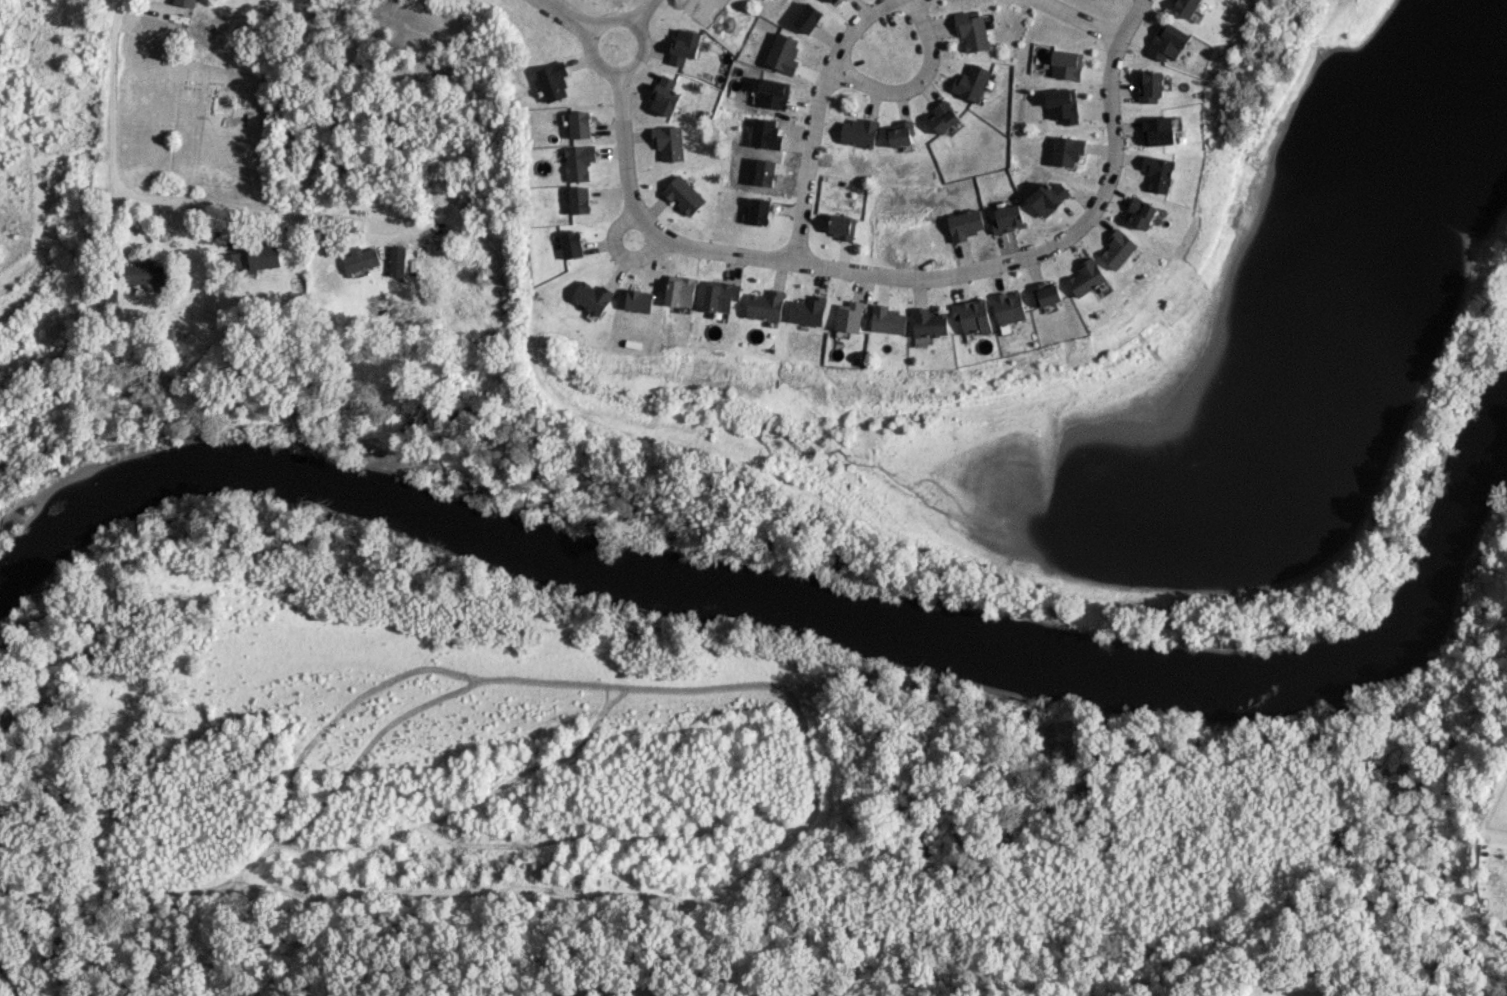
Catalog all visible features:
building: (833, 0)
building: (186, 2)
building: (1185, 7)
road: (643, 12)
road: (569, 16)
building: (807, 17)
road: (1078, 20)
building: (971, 31)
building: (1167, 41)
building: (684, 46)
road: (645, 54)
building: (1066, 64)
building: (553, 81)
road: (912, 82)
building: (971, 82)
building: (1150, 86)
building: (665, 96)
building: (1062, 105)
building: (943, 117)
road: (813, 120)
building: (580, 124)
road: (111, 129)
building: (1158, 130)
building: (859, 132)
building: (900, 133)
building: (668, 142)
road: (623, 146)
building: (1067, 150)
building: (578, 162)
building: (1159, 172)
building: (683, 194)
building: (579, 199)
building: (758, 210)
road: (248, 211)
building: (1141, 212)
building: (1007, 218)
building: (842, 226)
road: (656, 239)
building: (571, 244)
building: (1118, 248)
building: (264, 255)
building: (232, 259)
building: (360, 259)
building: (396, 260)
road: (993, 263)
building: (1087, 277)
building: (679, 291)
building: (1047, 292)
building: (720, 295)
building: (590, 296)
building: (638, 300)
building: (765, 305)
building: (1010, 307)
building: (808, 310)
building: (849, 316)
building: (973, 316)
building: (889, 320)
building: (929, 322)

